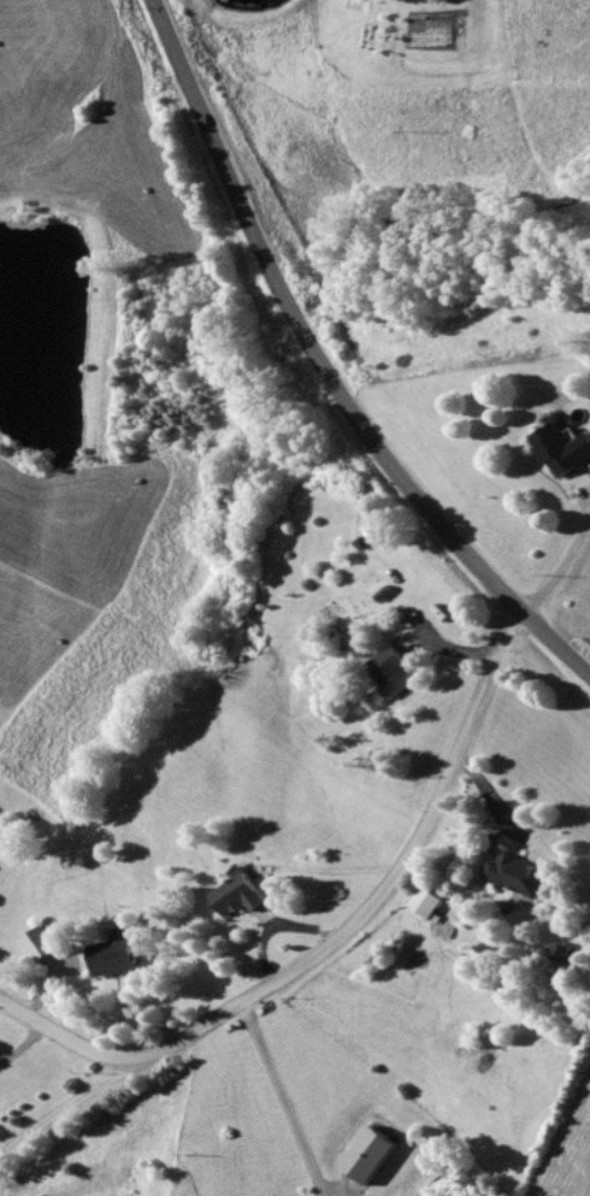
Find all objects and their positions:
road: (328, 360)
building: (566, 453)
road: (562, 570)
building: (402, 673)
building: (518, 876)
road: (388, 886)
building: (247, 896)
building: (48, 945)
building: (562, 952)
building: (120, 960)
road: (64, 1032)
road: (285, 1097)
road: (63, 1106)

